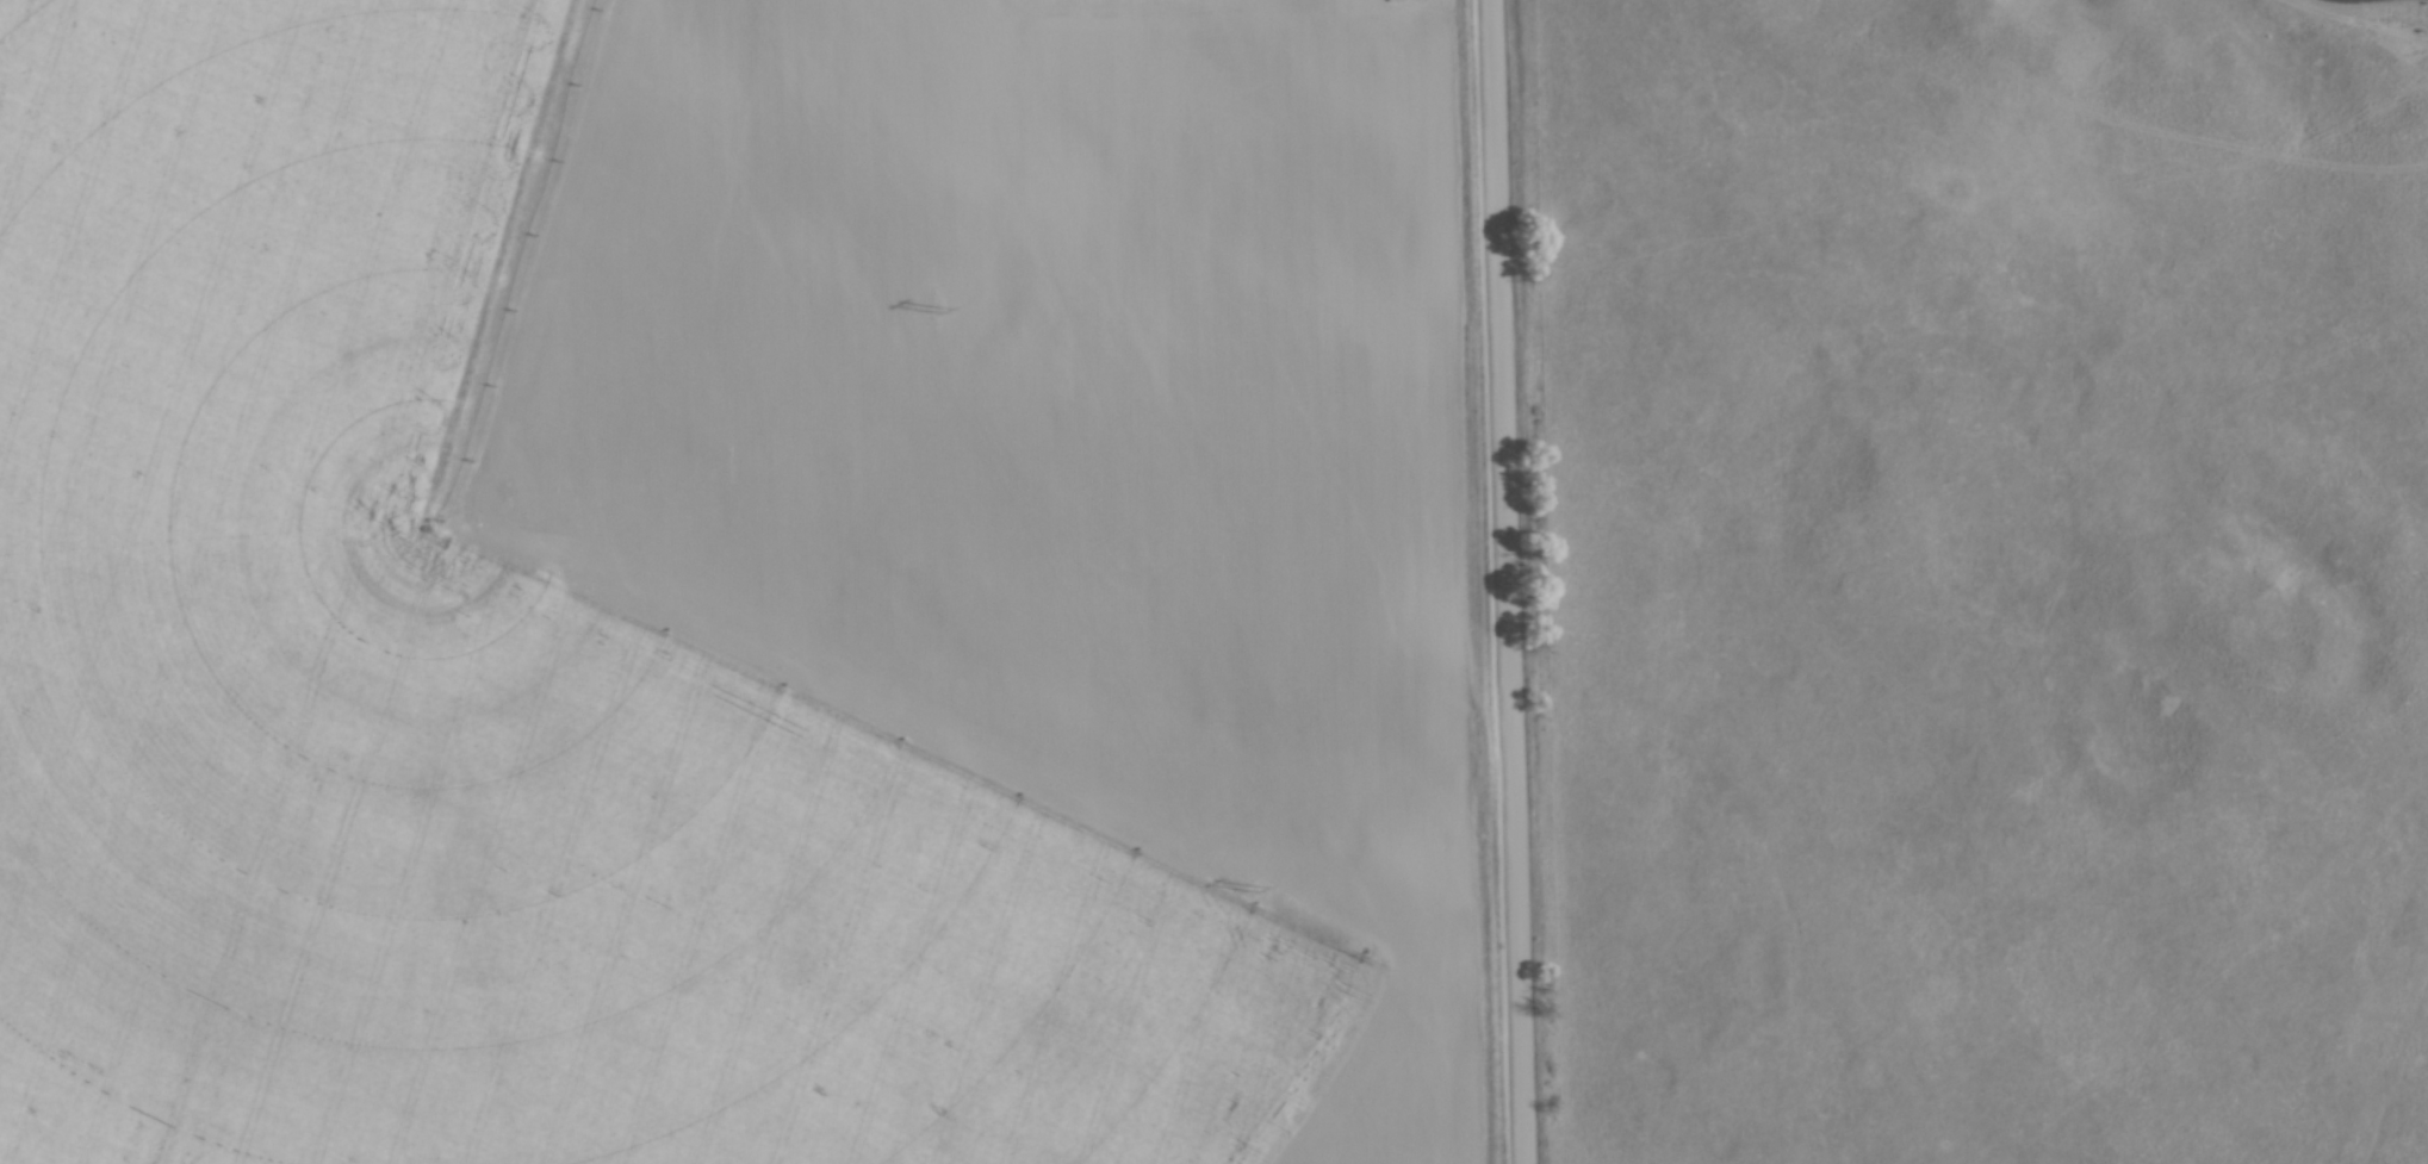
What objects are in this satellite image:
power tower: (937, 306)
road: (1510, 581)
crop: (737, 583)
power tower: (1253, 885)

